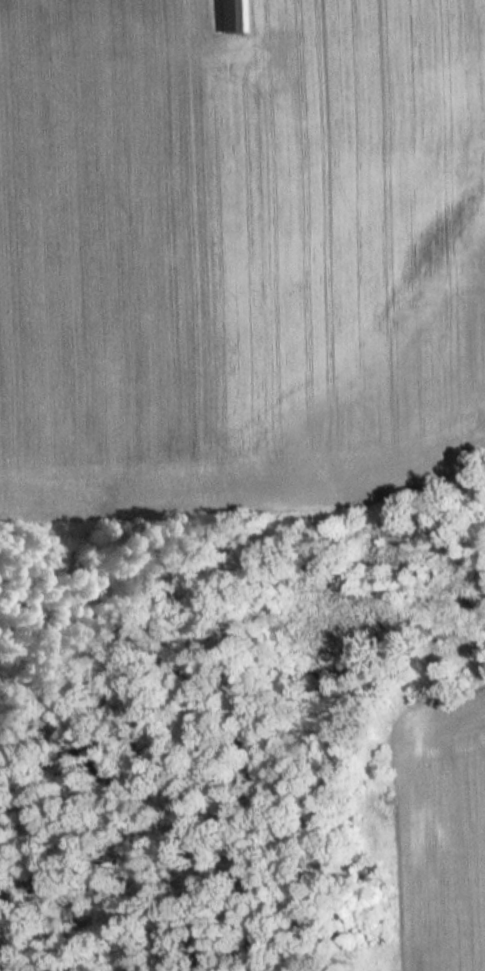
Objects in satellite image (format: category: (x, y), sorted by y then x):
building: (232, 15)

